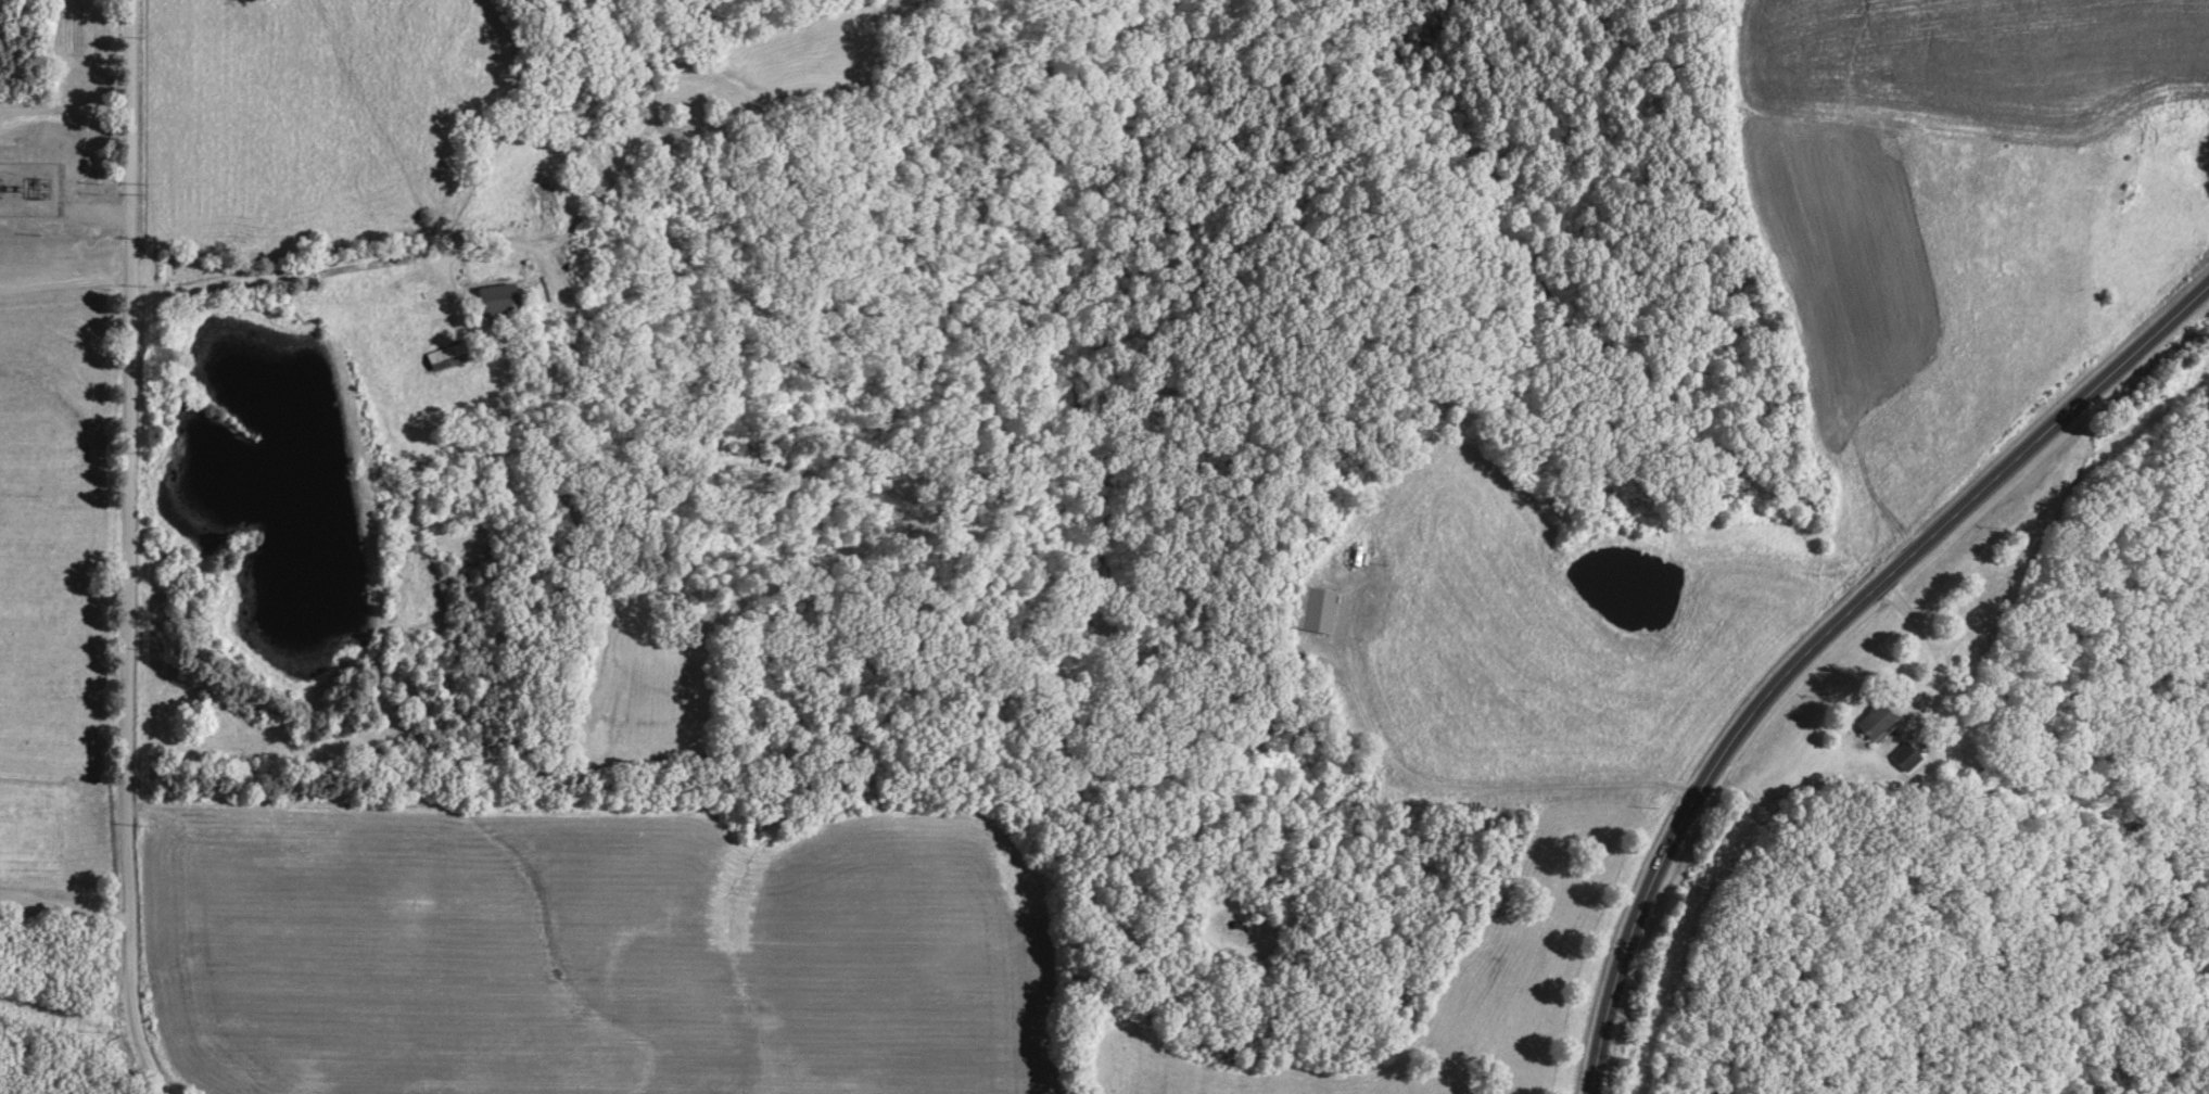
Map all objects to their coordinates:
power substation: (29, 189)
road: (285, 275)
road: (66, 287)
building: (498, 302)
building: (447, 359)
road: (132, 550)
building: (1313, 612)
road: (1824, 645)
building: (1876, 723)
building: (1905, 759)
road: (67, 908)

